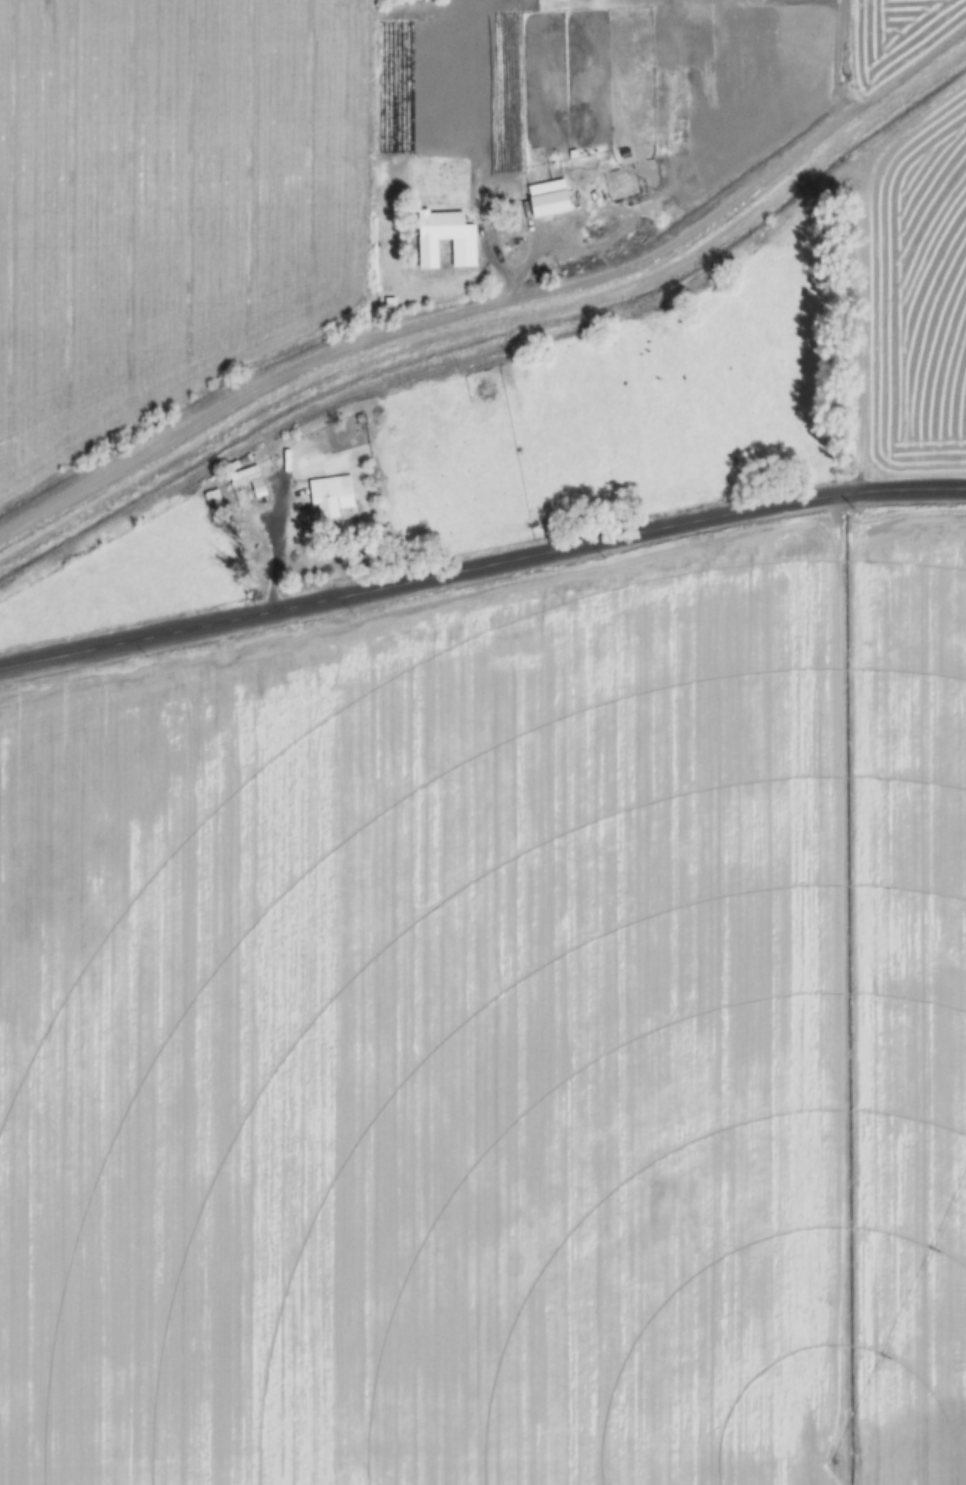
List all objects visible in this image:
building: (455, 239)
building: (389, 307)
road: (507, 308)
building: (247, 485)
building: (325, 495)
building: (214, 506)
road: (481, 569)

